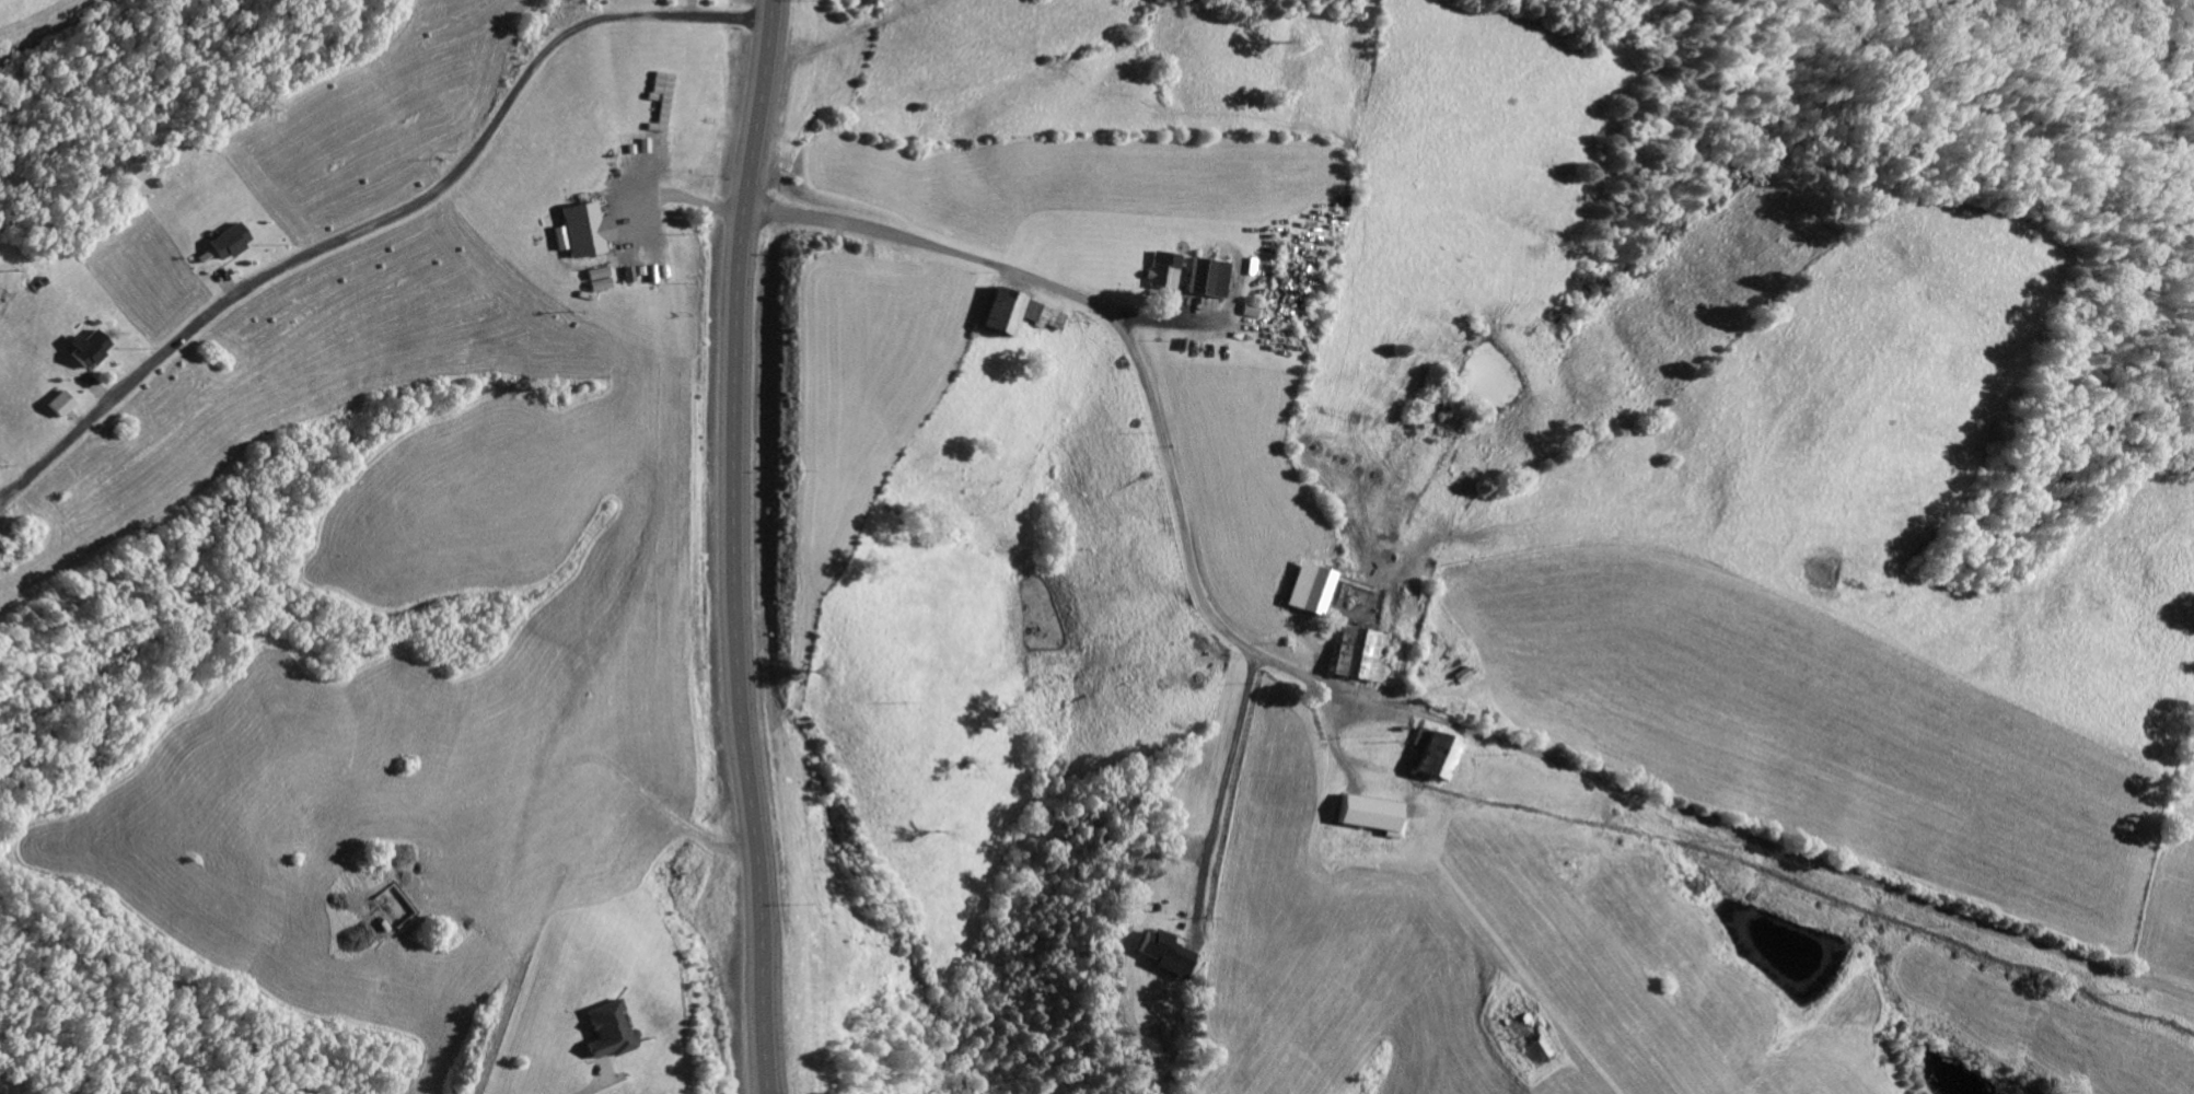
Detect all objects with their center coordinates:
building: (580, 228)
building: (229, 238)
building: (1159, 267)
building: (1204, 275)
building: (596, 277)
building: (1011, 310)
building: (84, 345)
road: (1114, 352)
building: (56, 401)
road: (739, 546)
building: (1307, 585)
building: (1355, 651)
building: (1427, 750)
road: (1221, 796)
building: (1368, 812)
building: (1163, 950)
building: (606, 1028)

